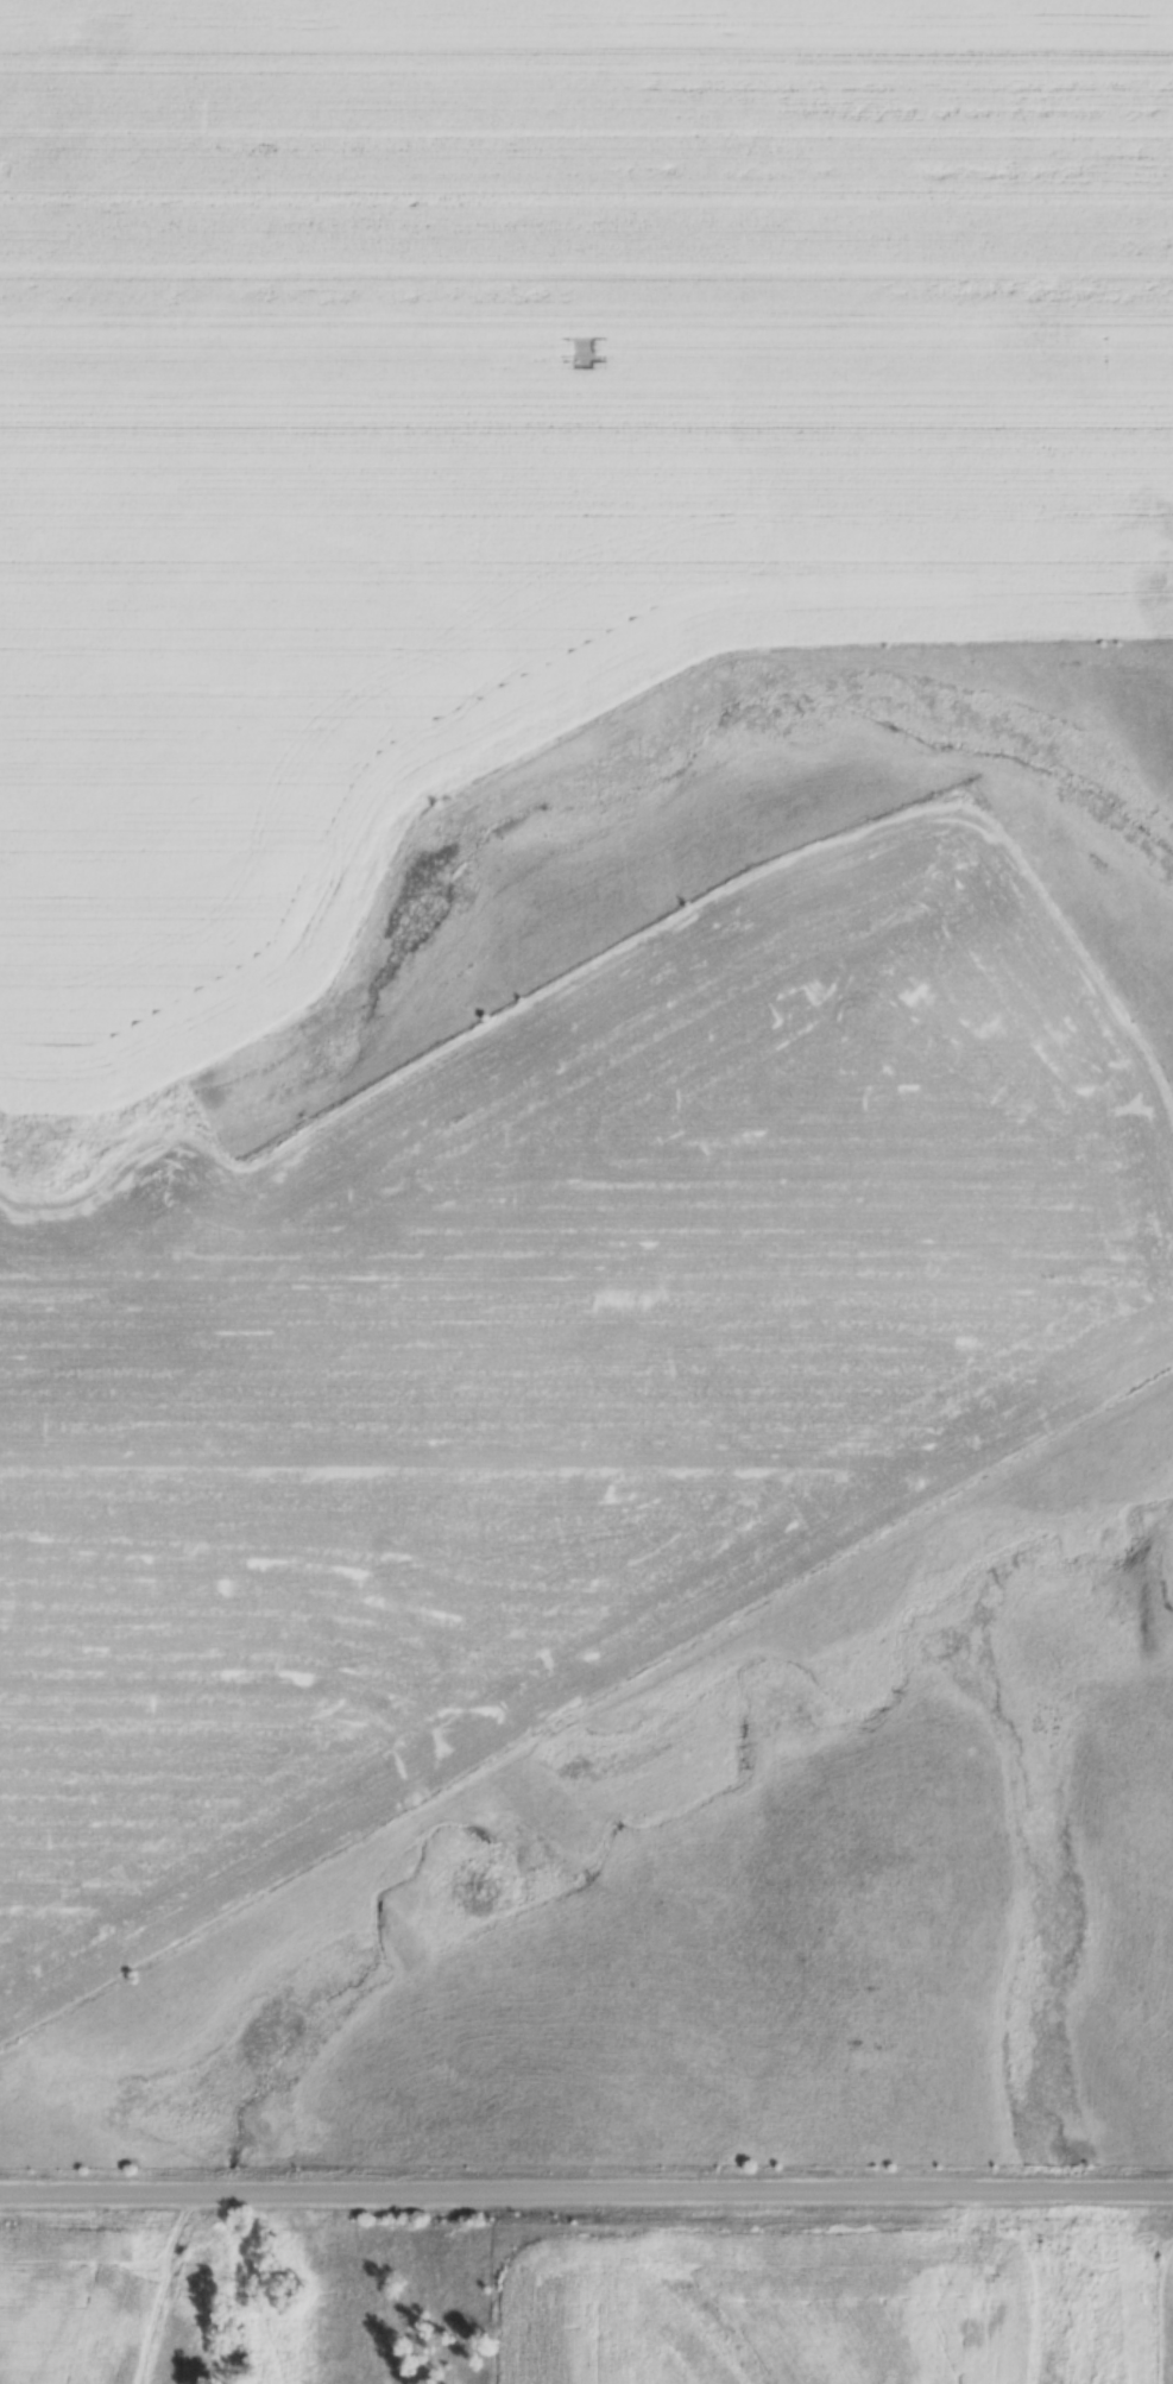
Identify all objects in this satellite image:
road: (586, 2202)

